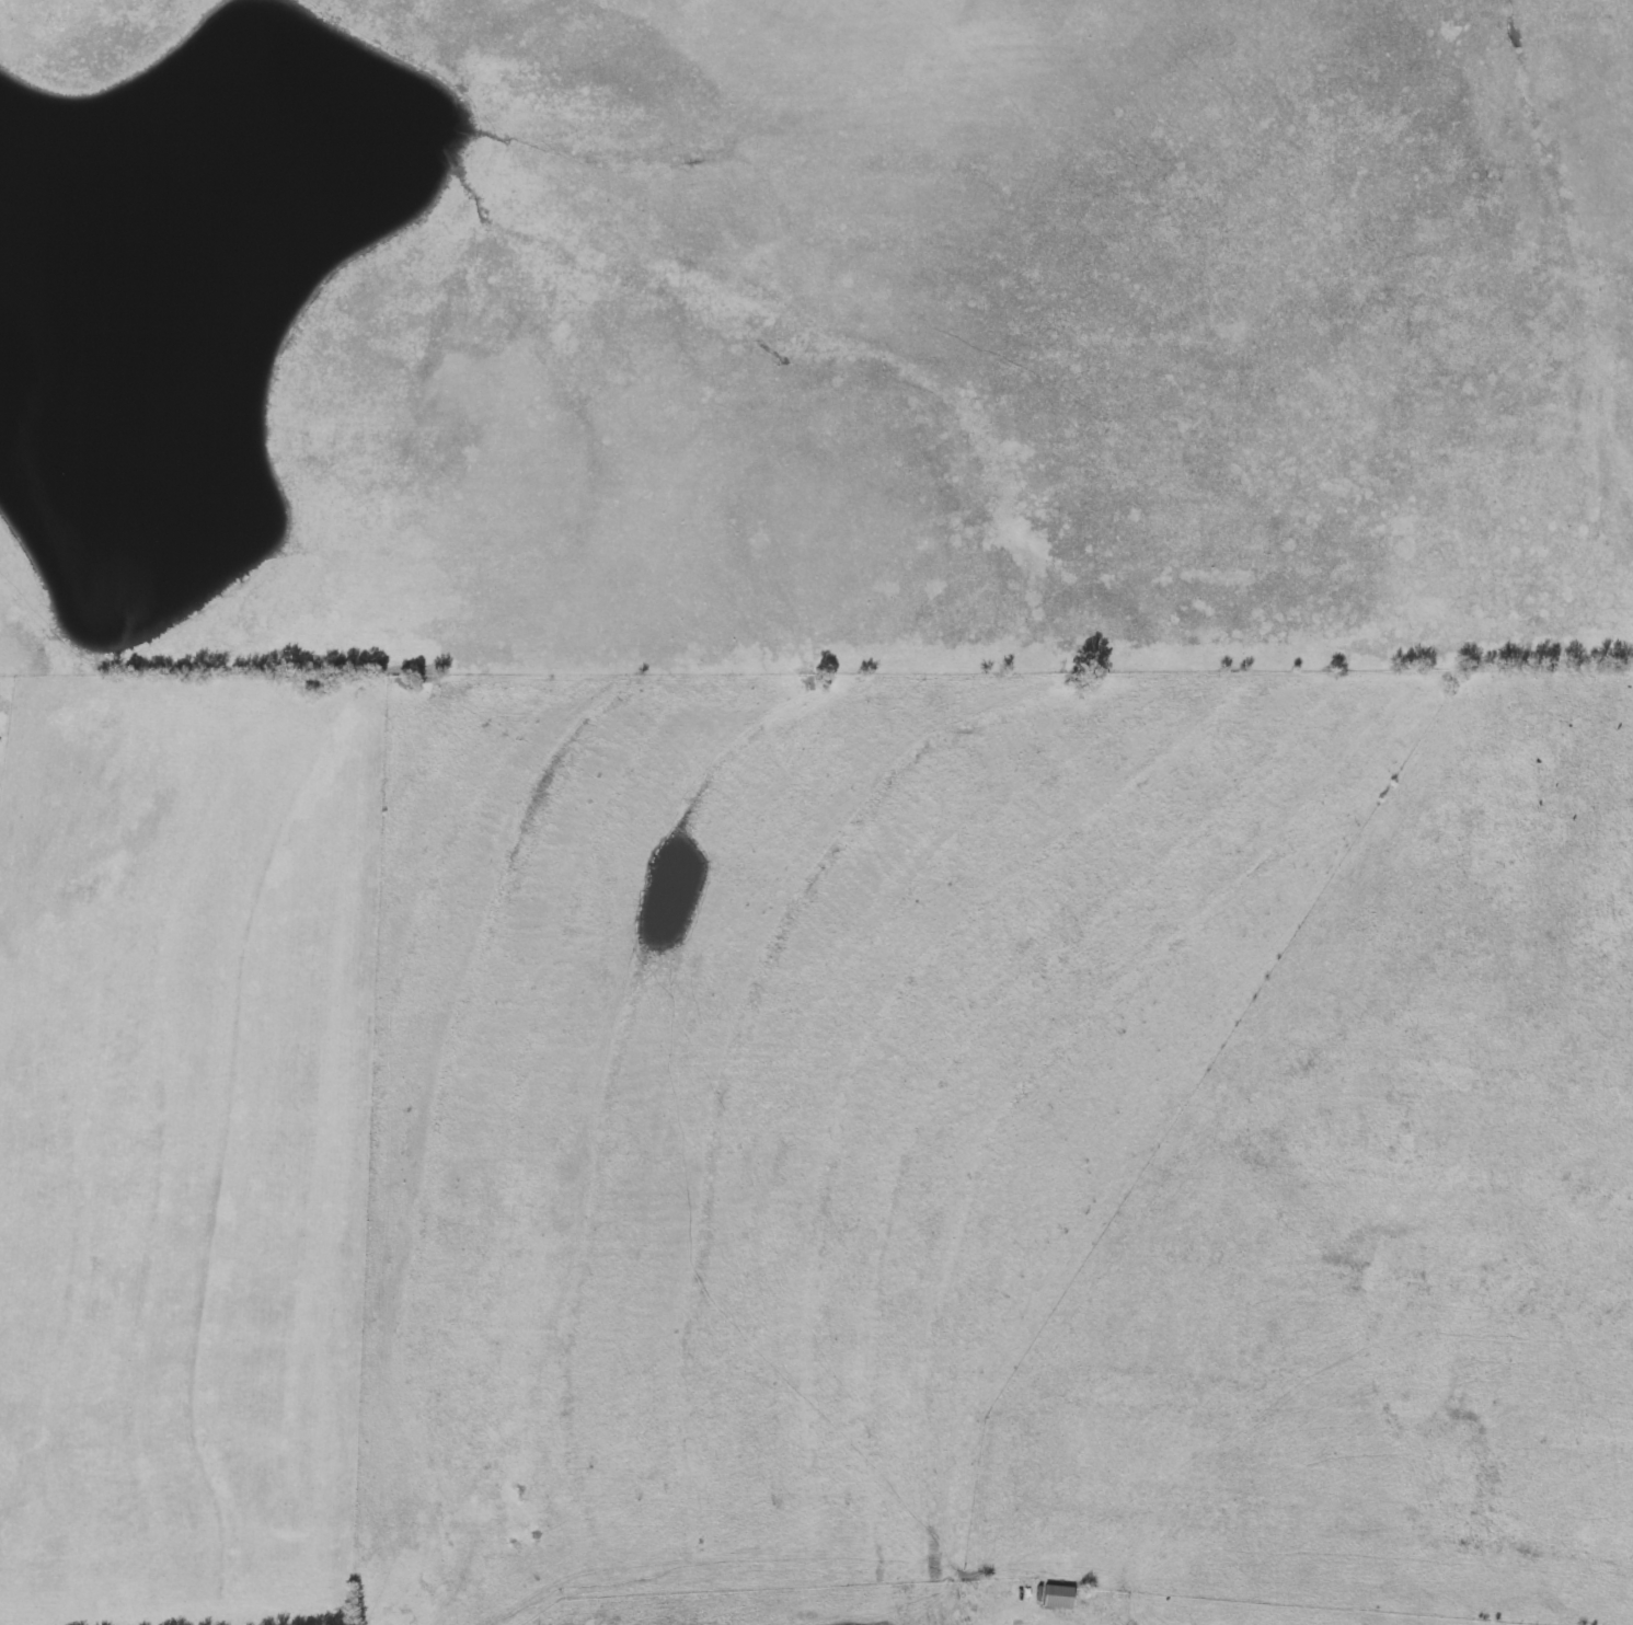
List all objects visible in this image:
building: (1056, 1595)
road: (1022, 1616)

